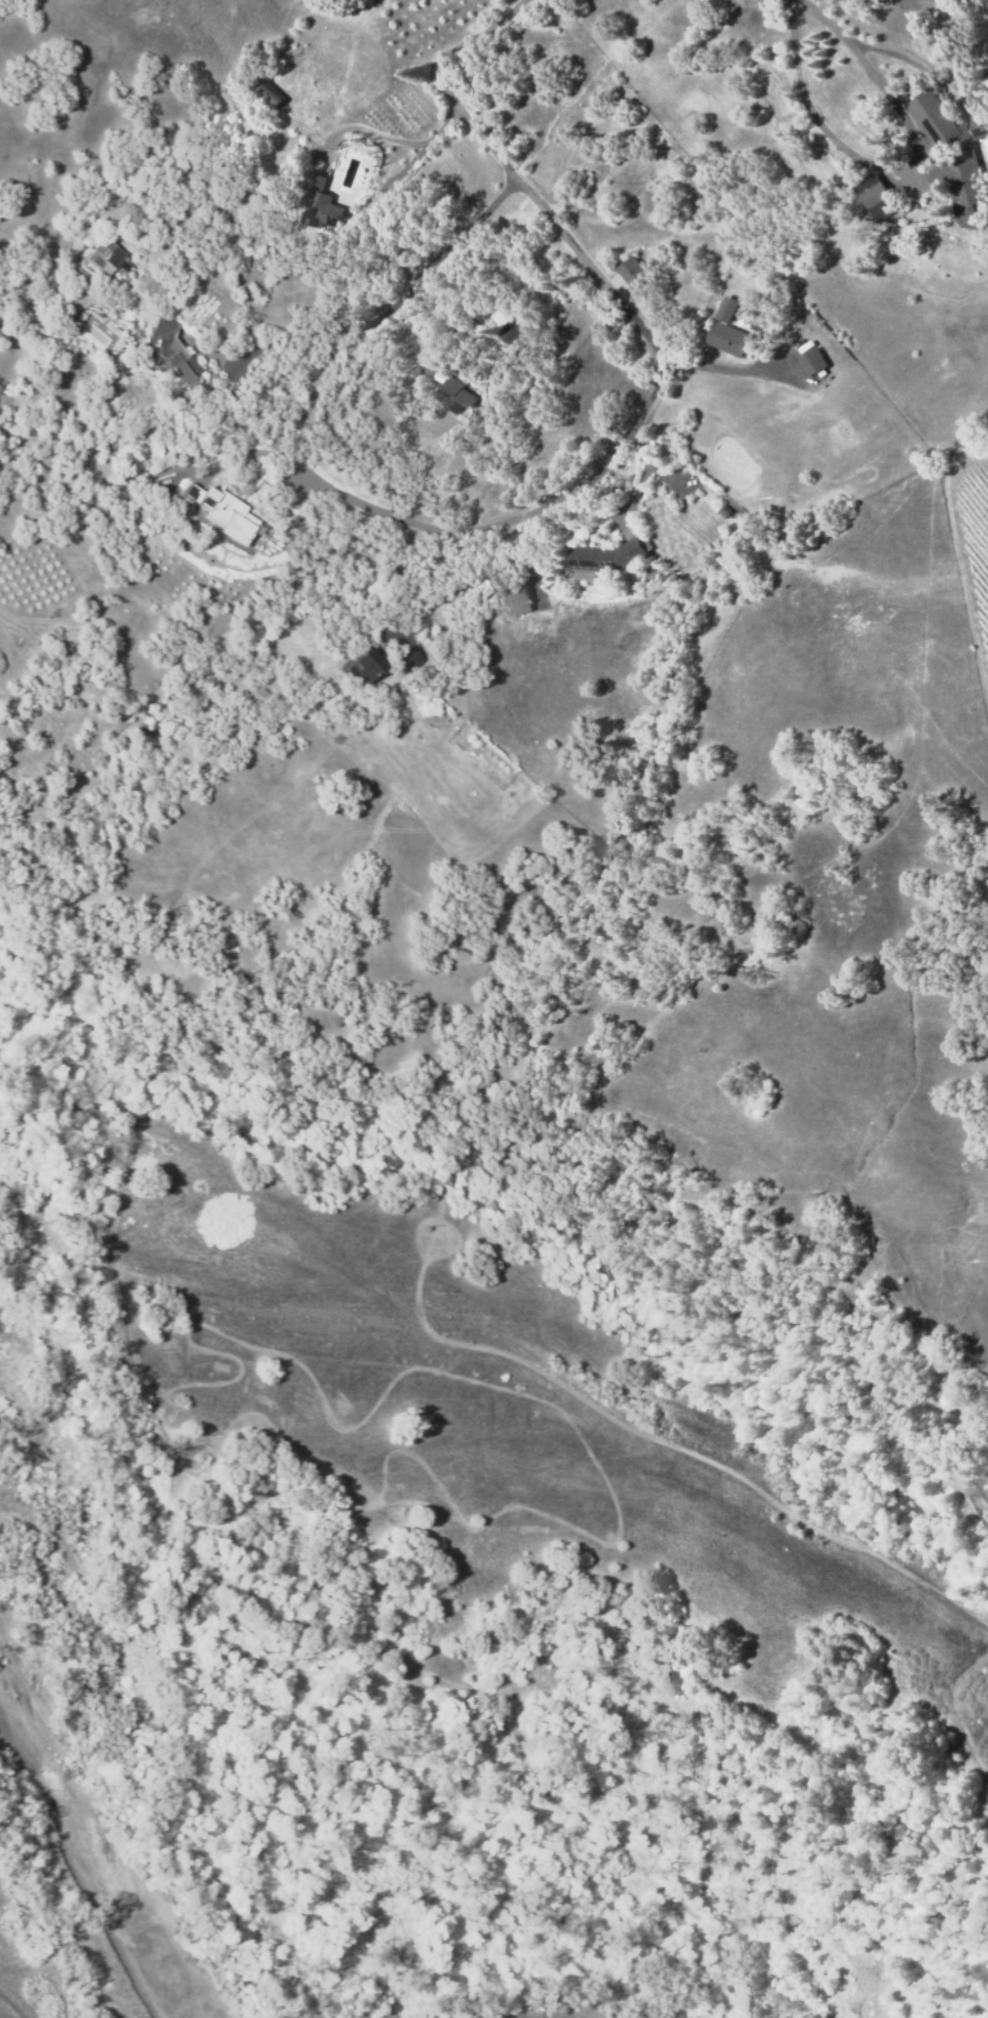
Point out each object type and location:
building: (269, 94)
building: (954, 159)
building: (875, 197)
building: (319, 204)
building: (103, 257)
building: (634, 276)
building: (728, 310)
building: (509, 334)
building: (730, 341)
road: (651, 348)
building: (170, 349)
building: (809, 359)
building: (451, 391)
building: (213, 510)
building: (605, 560)
building: (518, 594)
building: (406, 660)
building: (365, 666)

